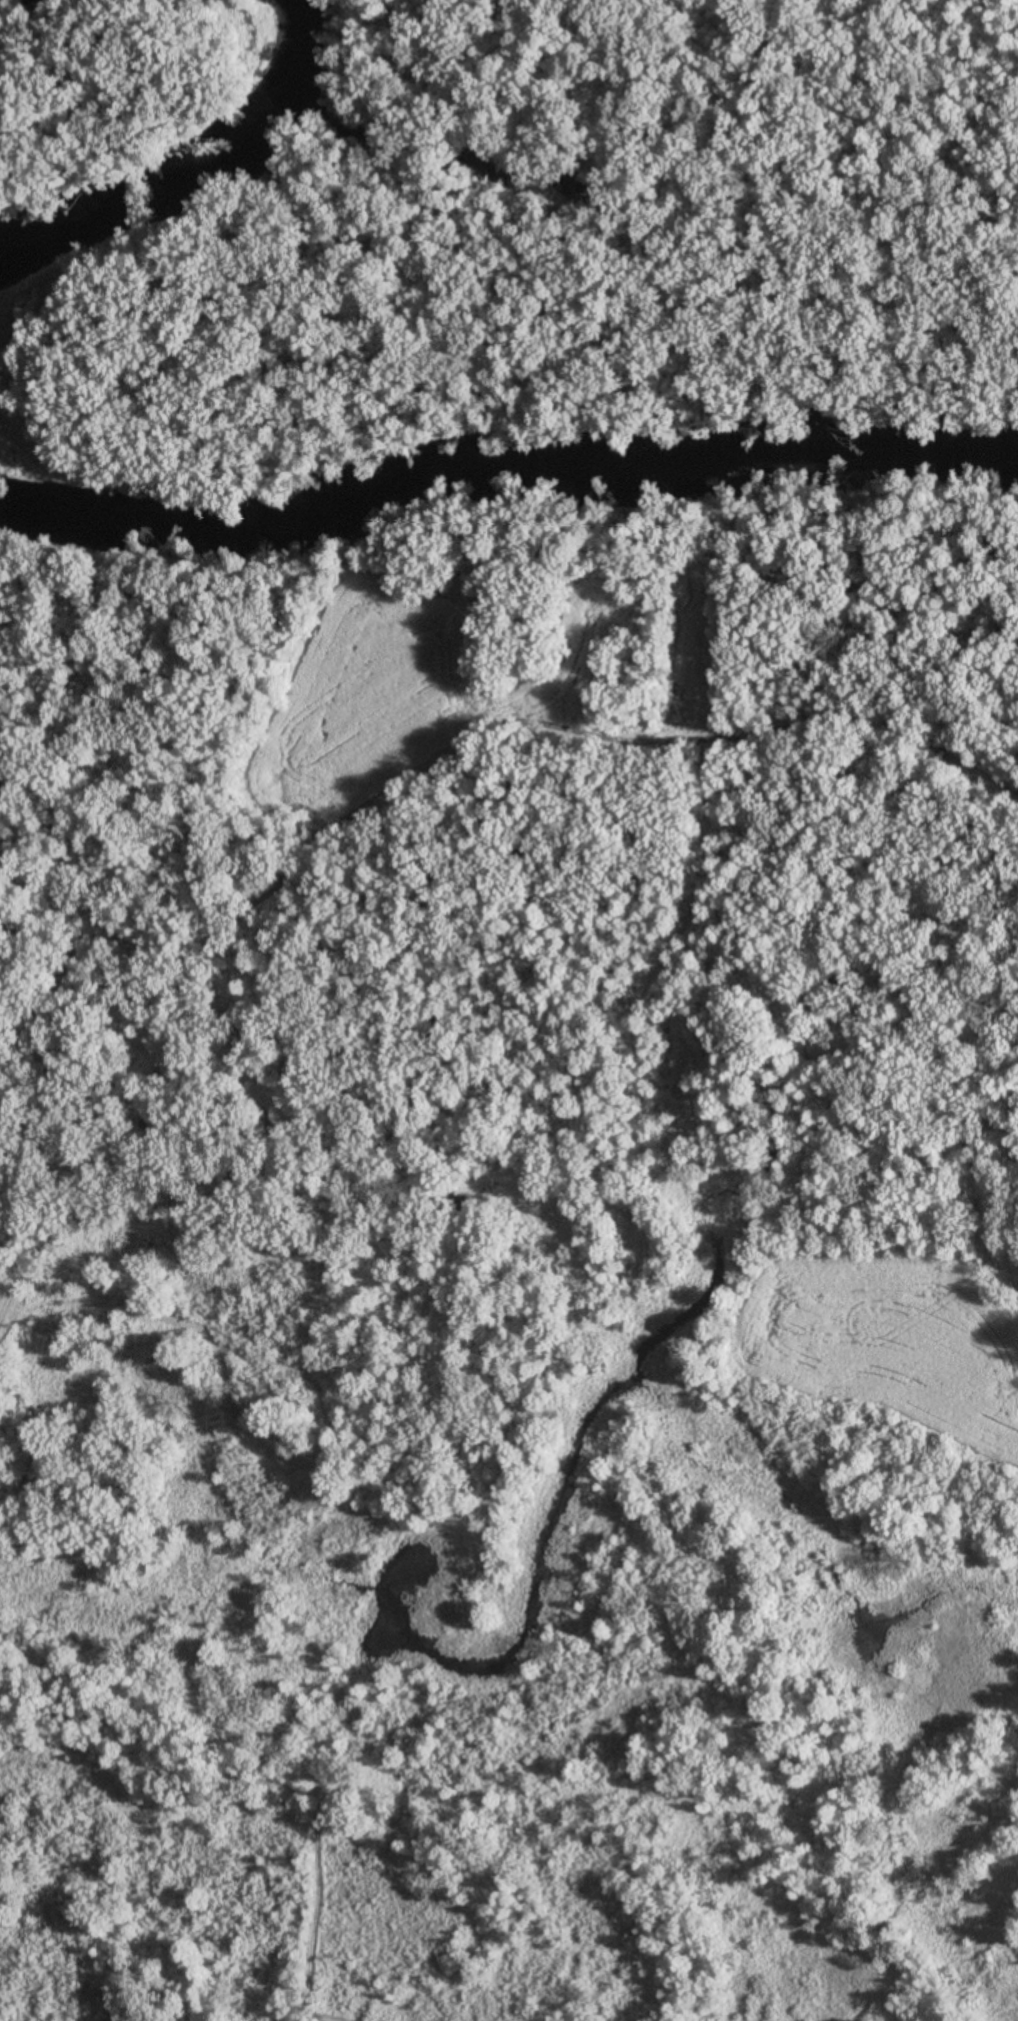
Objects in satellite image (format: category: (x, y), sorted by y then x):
river: (239, 493)

